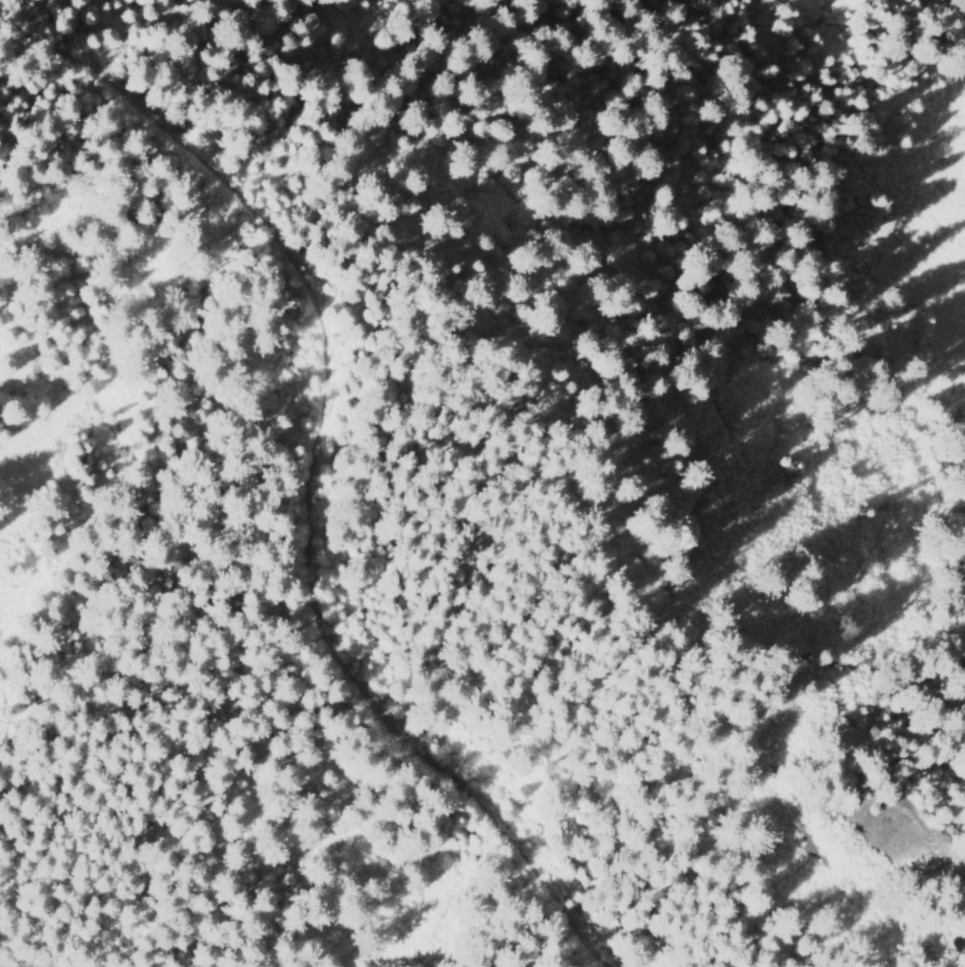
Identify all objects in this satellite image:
road: (334, 465)

